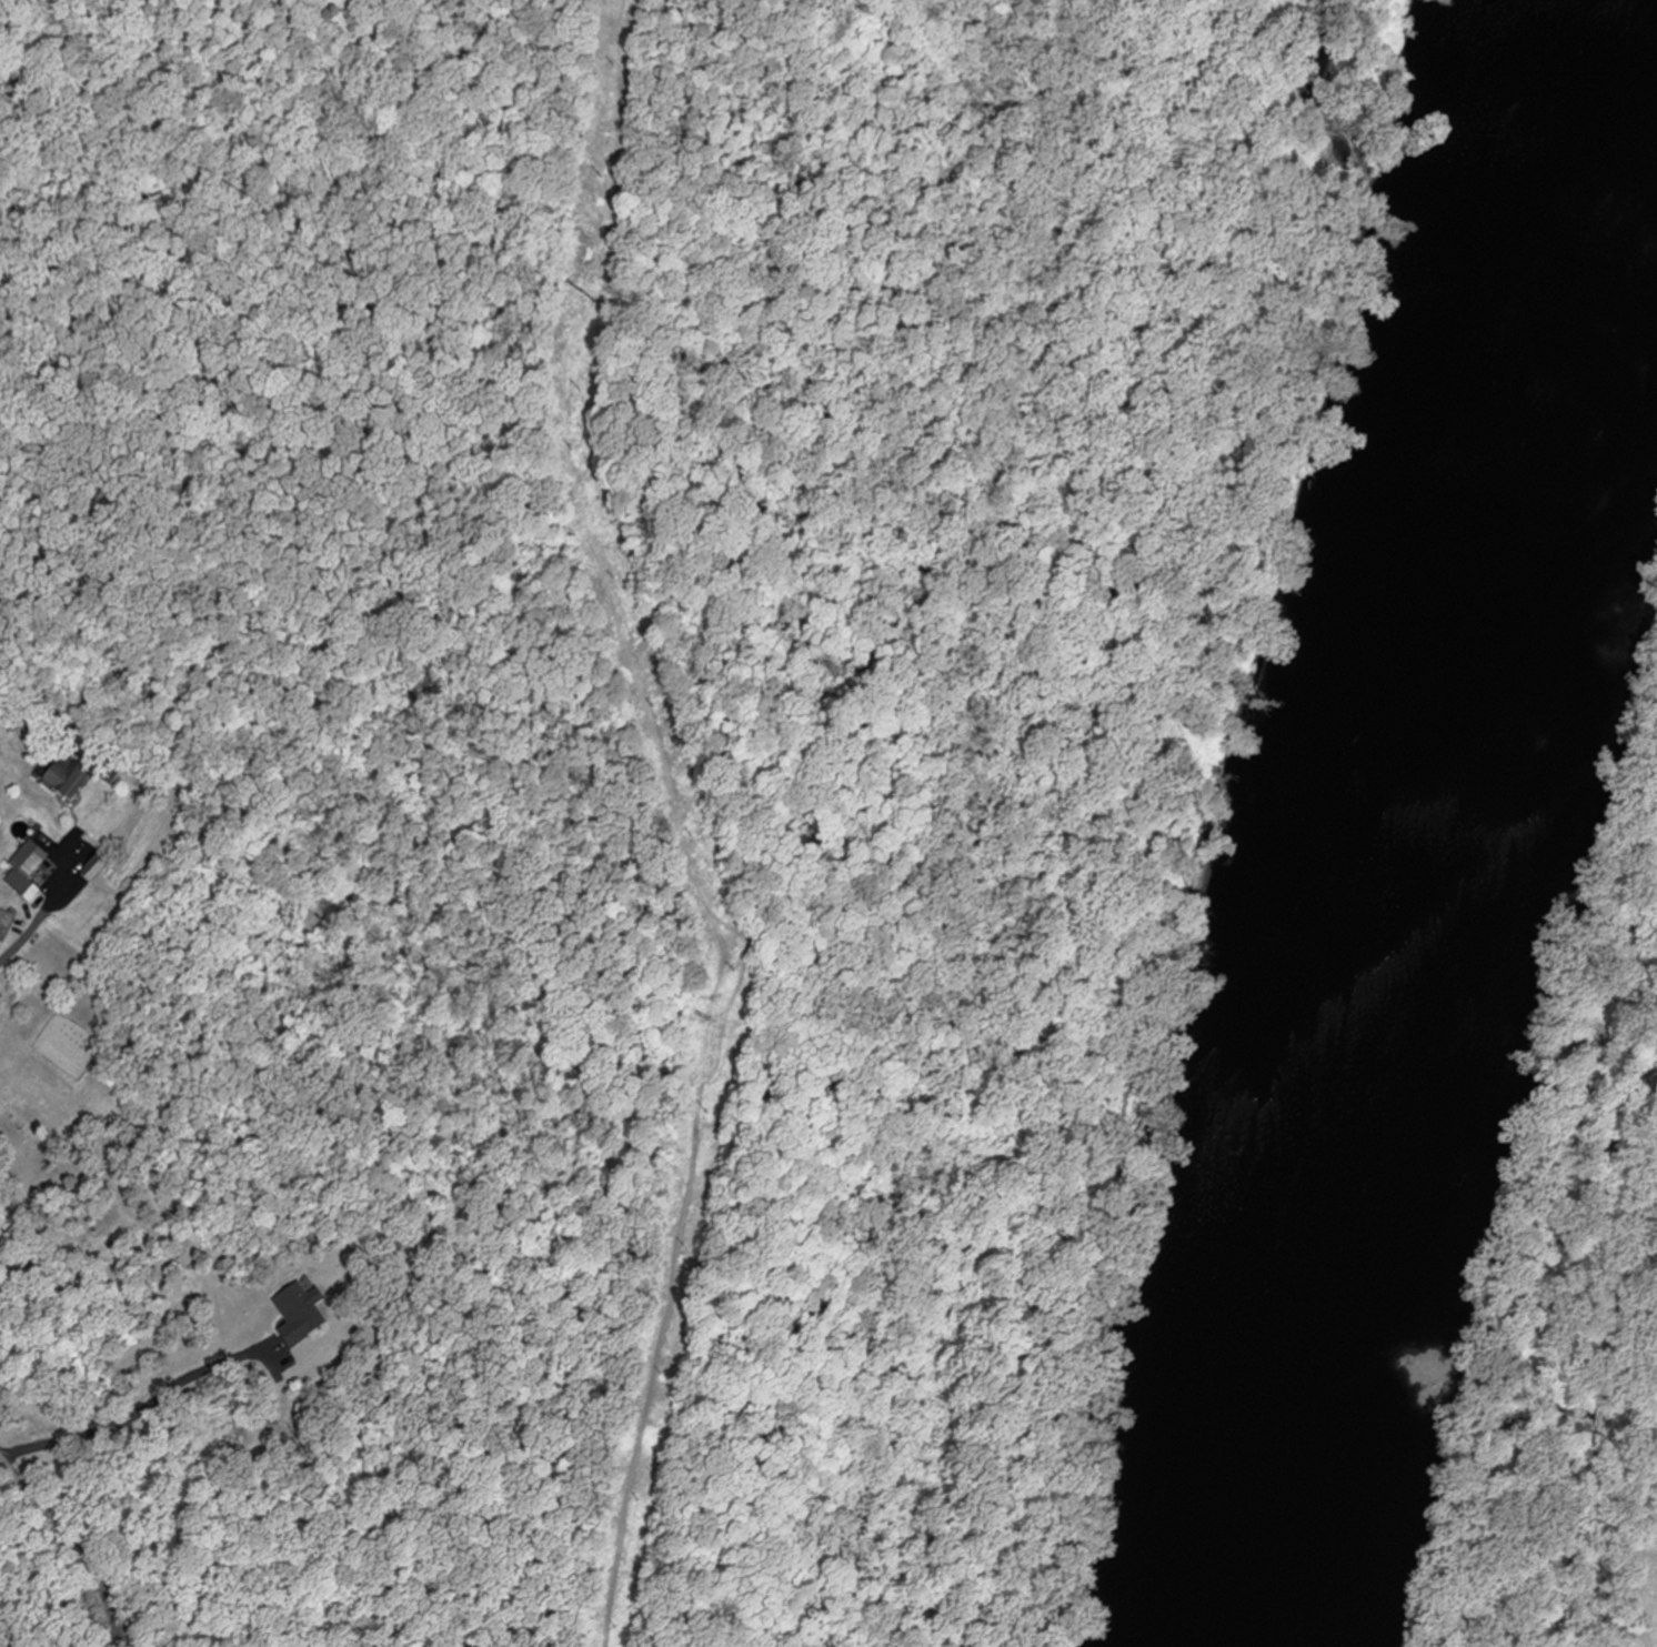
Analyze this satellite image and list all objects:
river: (1493, 473)
building: (71, 779)
building: (31, 867)
road: (40, 917)
river: (1295, 1295)
road: (1608, 1382)
road: (139, 1407)
road: (78, 1543)

